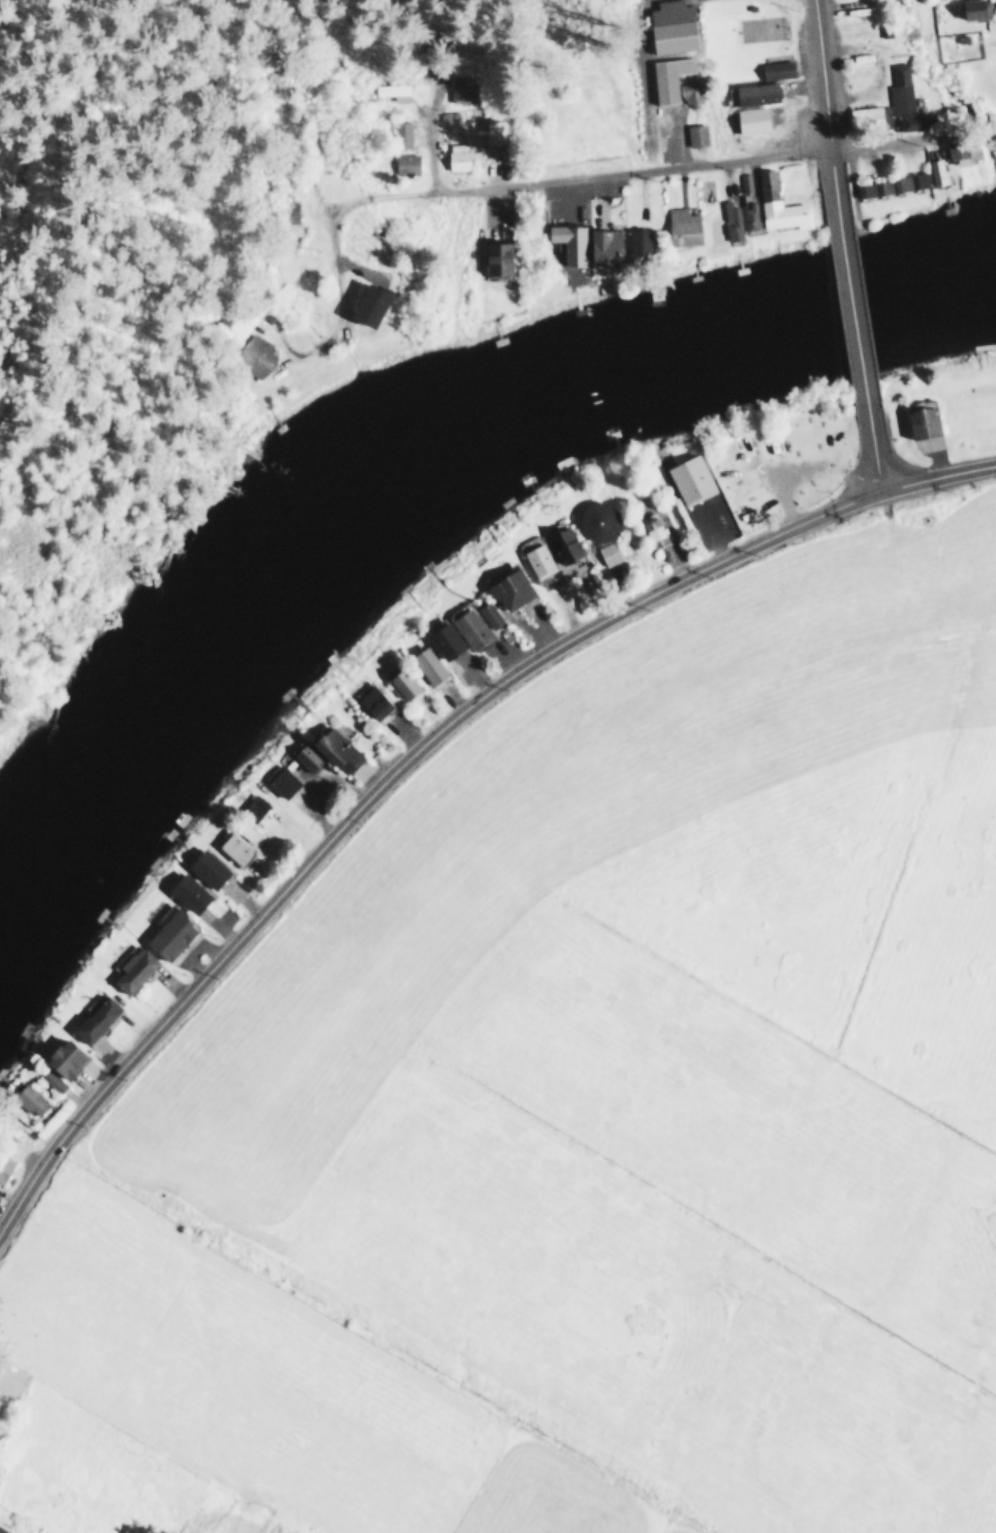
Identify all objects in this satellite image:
building: (972, 9)
building: (672, 26)
building: (774, 69)
building: (666, 77)
road: (822, 83)
building: (390, 88)
building: (461, 92)
building: (689, 92)
building: (754, 93)
building: (890, 105)
building: (750, 121)
building: (494, 131)
building: (401, 134)
building: (695, 135)
building: (955, 153)
building: (456, 159)
building: (405, 163)
building: (936, 171)
road: (486, 182)
building: (889, 184)
building: (765, 185)
building: (730, 220)
building: (680, 226)
building: (636, 241)
building: (581, 244)
building: (495, 259)
road: (853, 302)
building: (366, 305)
building: (254, 356)
park: (786, 453)
road: (876, 462)
river: (420, 467)
road: (937, 469)
building: (688, 478)
building: (595, 520)
building: (651, 531)
building: (561, 544)
building: (607, 552)
building: (535, 559)
building: (507, 588)
building: (487, 614)
building: (468, 627)
building: (442, 639)
building: (425, 664)
building: (400, 682)
building: (372, 701)
building: (334, 749)
building: (304, 756)
building: (280, 782)
road: (382, 788)
building: (251, 807)
building: (246, 832)
building: (231, 847)
building: (205, 868)
building: (185, 892)
building: (167, 932)
building: (130, 968)
building: (93, 1018)
building: (62, 1057)
building: (50, 1080)
building: (26, 1099)
crop: (588, 1112)
building: (4, 1164)
building: (1, 1531)

